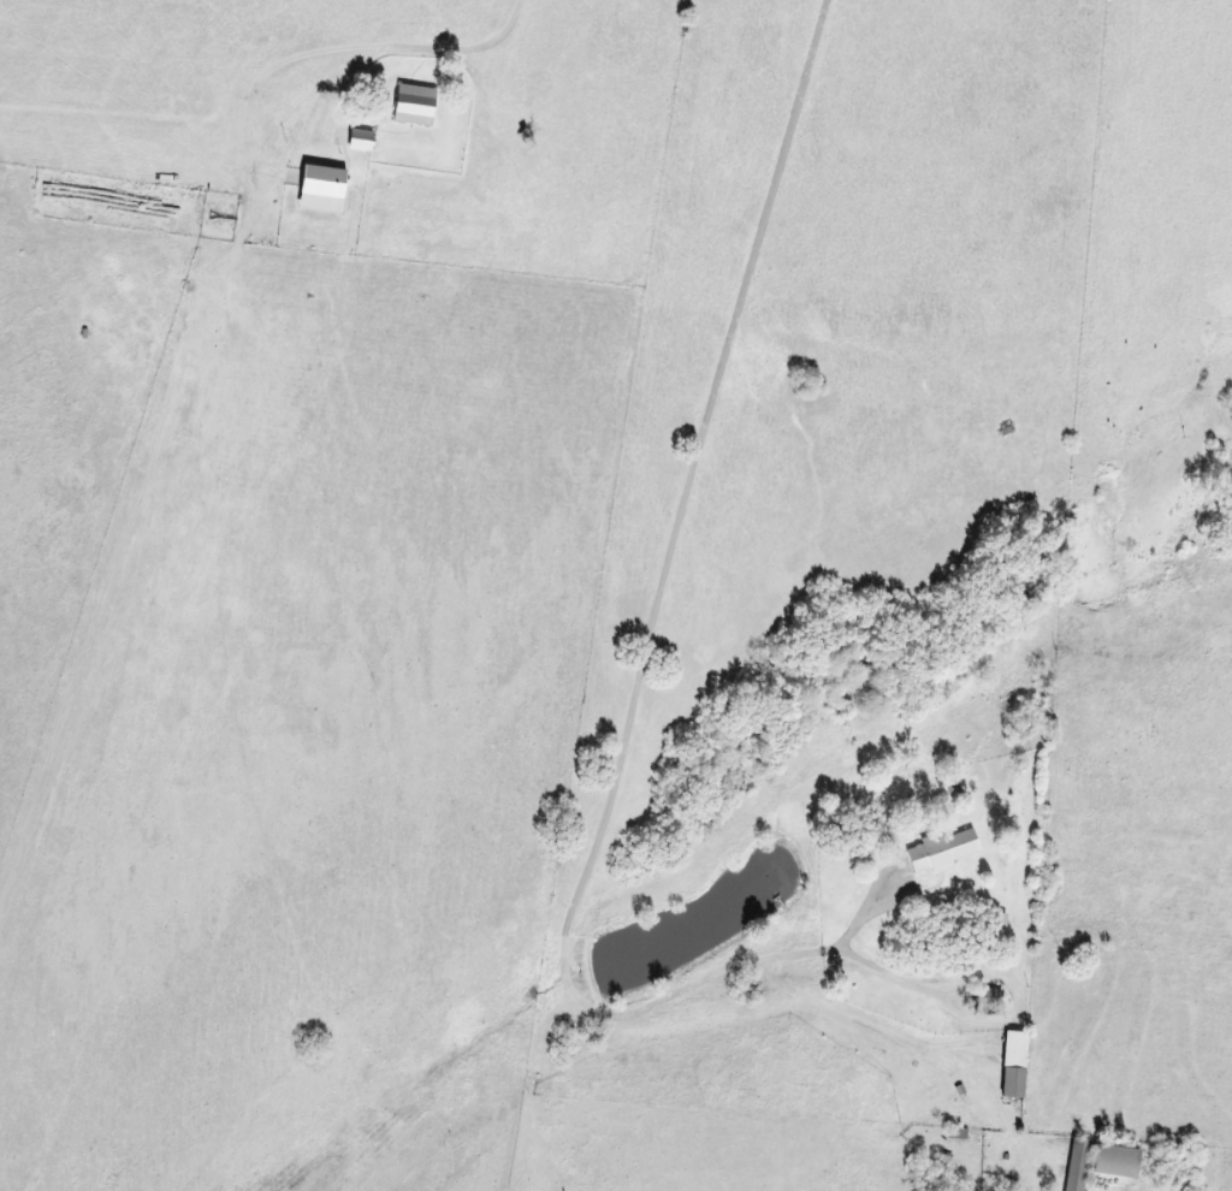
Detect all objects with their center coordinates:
building: (414, 105)
building: (360, 140)
building: (321, 188)
building: (941, 851)
building: (984, 1001)
building: (1013, 1063)
building: (1115, 1160)
building: (1077, 1163)

